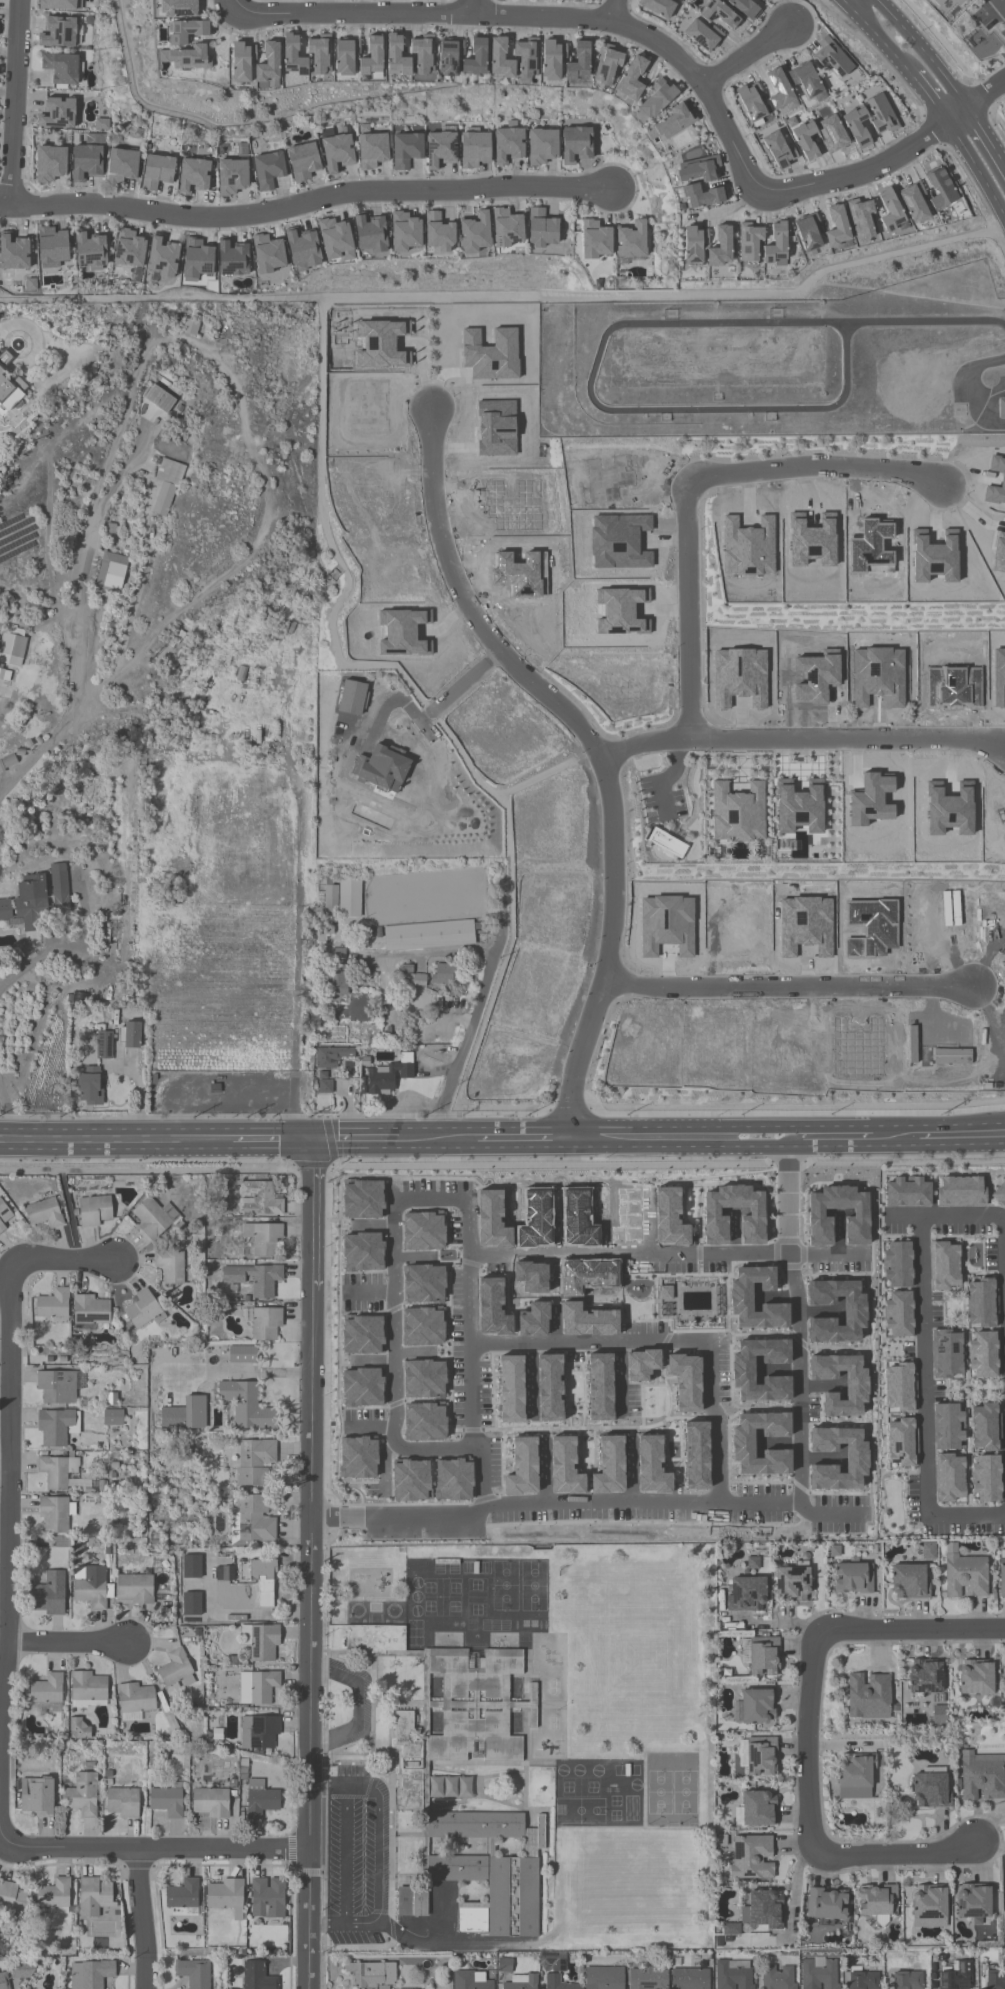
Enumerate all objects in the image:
building: (678, 0)
building: (761, 0)
building: (764, 0)
road: (846, 2)
road: (850, 2)
building: (940, 3)
building: (60, 4)
road: (1001, 4)
building: (659, 6)
building: (178, 8)
road: (474, 8)
building: (745, 8)
road: (612, 11)
building: (718, 13)
road: (534, 18)
building: (188, 31)
building: (58, 32)
building: (703, 35)
road: (879, 39)
park: (978, 39)
road: (926, 52)
building: (320, 53)
building: (423, 54)
road: (745, 55)
building: (293, 56)
building: (345, 56)
building: (449, 56)
building: (186, 57)
building: (371, 57)
building: (397, 57)
building: (476, 57)
building: (527, 57)
building: (833, 57)
building: (500, 59)
building: (552, 59)
building: (240, 61)
building: (578, 61)
building: (268, 63)
building: (607, 64)
building: (61, 67)
building: (631, 78)
building: (806, 79)
building: (780, 89)
road: (986, 97)
building: (657, 98)
road: (929, 98)
building: (751, 101)
road: (14, 103)
building: (58, 113)
building: (882, 115)
building: (673, 123)
building: (857, 126)
building: (832, 134)
building: (806, 140)
road: (986, 140)
building: (508, 144)
building: (576, 144)
building: (541, 146)
building: (406, 149)
building: (440, 149)
building: (474, 149)
building: (372, 150)
building: (779, 150)
building: (336, 152)
building: (303, 161)
building: (86, 162)
building: (51, 163)
building: (122, 166)
building: (268, 169)
building: (699, 169)
road: (977, 170)
building: (157, 171)
road: (870, 172)
building: (193, 175)
building: (232, 176)
building: (941, 190)
building: (703, 196)
building: (914, 202)
road: (304, 204)
building: (890, 210)
building: (860, 218)
building: (837, 227)
building: (507, 228)
building: (542, 229)
building: (404, 232)
building: (439, 232)
building: (474, 232)
building: (808, 232)
building: (370, 233)
building: (335, 240)
building: (595, 240)
building: (631, 240)
building: (749, 242)
building: (694, 244)
building: (52, 245)
building: (776, 245)
building: (721, 248)
building: (129, 249)
building: (302, 249)
building: (89, 251)
building: (13, 252)
building: (268, 254)
building: (162, 256)
building: (197, 258)
building: (232, 258)
road: (925, 321)
road: (728, 323)
building: (190, 328)
building: (4, 358)
road: (969, 391)
building: (10, 392)
road: (988, 396)
building: (159, 399)
building: (1001, 409)
road: (715, 410)
road: (818, 466)
building: (163, 500)
road: (85, 562)
building: (111, 574)
road: (140, 590)
road: (688, 610)
building: (12, 649)
road: (461, 686)
road: (801, 740)
road: (41, 749)
road: (594, 750)
building: (381, 771)
road: (299, 839)
building: (84, 871)
building: (339, 897)
building: (37, 900)
building: (429, 935)
road: (74, 947)
building: (430, 977)
building: (336, 981)
road: (788, 987)
road: (478, 1009)
building: (131, 1037)
building: (103, 1046)
building: (331, 1057)
building: (387, 1076)
building: (90, 1085)
road: (8, 1108)
road: (992, 1129)
road: (942, 1131)
road: (844, 1133)
road: (621, 1134)
road: (727, 1134)
road: (286, 1135)
building: (259, 1199)
building: (94, 1211)
building: (45, 1213)
road: (944, 1213)
building: (5, 1217)
building: (153, 1218)
road: (371, 1218)
building: (578, 1218)
building: (492, 1219)
building: (535, 1219)
road: (649, 1220)
road: (557, 1221)
road: (1003, 1222)
road: (840, 1228)
road: (734, 1229)
building: (423, 1230)
building: (263, 1238)
road: (415, 1251)
road: (668, 1251)
road: (64, 1260)
building: (433, 1261)
building: (170, 1266)
road: (553, 1270)
building: (586, 1274)
building: (531, 1276)
building: (254, 1278)
building: (424, 1283)
road: (372, 1287)
road: (775, 1292)
building: (52, 1306)
building: (492, 1307)
road: (818, 1308)
building: (142, 1309)
building: (91, 1311)
road: (797, 1315)
road: (394, 1319)
building: (533, 1319)
building: (586, 1319)
building: (266, 1324)
road: (553, 1325)
building: (422, 1326)
building: (362, 1334)
road: (596, 1343)
building: (531, 1347)
road: (416, 1349)
road: (477, 1352)
building: (242, 1354)
road: (375, 1356)
road: (924, 1363)
road: (777, 1365)
building: (424, 1378)
road: (625, 1378)
road: (819, 1381)
road: (530, 1382)
building: (59, 1386)
building: (362, 1386)
building: (549, 1387)
building: (511, 1388)
building: (709, 1400)
building: (246, 1406)
building: (899, 1408)
building: (113, 1417)
building: (425, 1421)
road: (718, 1421)
road: (373, 1422)
building: (55, 1425)
building: (986, 1433)
road: (778, 1438)
road: (819, 1450)
building: (886, 1454)
building: (253, 1461)
building: (522, 1466)
road: (632, 1467)
road: (545, 1468)
road: (388, 1470)
road: (4, 1473)
building: (64, 1473)
road: (583, 1501)
building: (992, 1506)
road: (966, 1512)
building: (56, 1514)
building: (252, 1521)
road: (7, 1558)
road: (313, 1562)
building: (261, 1570)
building: (965, 1575)
building: (1001, 1576)
building: (853, 1579)
building: (792, 1582)
building: (908, 1583)
building: (90, 1585)
building: (134, 1588)
building: (49, 1594)
building: (748, 1594)
road: (774, 1624)
road: (913, 1628)
building: (262, 1642)
road: (68, 1645)
building: (762, 1656)
building: (177, 1669)
building: (924, 1680)
building: (974, 1680)
building: (1003, 1682)
building: (263, 1686)
building: (88, 1688)
building: (46, 1694)
building: (868, 1696)
building: (135, 1700)
road: (358, 1704)
building: (755, 1707)
building: (938, 1716)
building: (78, 1729)
building: (259, 1732)
road: (810, 1738)
building: (758, 1756)
building: (854, 1777)
building: (464, 1778)
building: (982, 1778)
building: (930, 1791)
building: (82, 1795)
building: (37, 1797)
building: (168, 1800)
building: (260, 1800)
building: (122, 1803)
building: (210, 1803)
building: (756, 1809)
road: (158, 1852)
road: (895, 1854)
road: (347, 1857)
building: (752, 1857)
road: (383, 1858)
road: (795, 1889)
building: (55, 1895)
building: (225, 1895)
building: (183, 1896)
building: (13, 1897)
building: (94, 1897)
building: (268, 1898)
building: (412, 1901)
building: (877, 1903)
building: (973, 1903)
building: (826, 1906)
building: (929, 1909)
building: (763, 1911)
road: (142, 1920)
building: (548, 1958)
building: (505, 1964)
building: (18, 1971)
building: (194, 1973)
building: (92, 1974)
building: (735, 1974)
building: (819, 1974)
building: (372, 1975)
building: (258, 1976)
building: (648, 1977)
building: (778, 1977)
building: (957, 1977)
building: (995, 1977)
building: (604, 1978)
building: (690, 1978)
building: (4, 1980)
building: (863, 1980)
building: (907, 1980)
building: (469, 1981)
building: (522, 1982)
building: (558, 1983)

